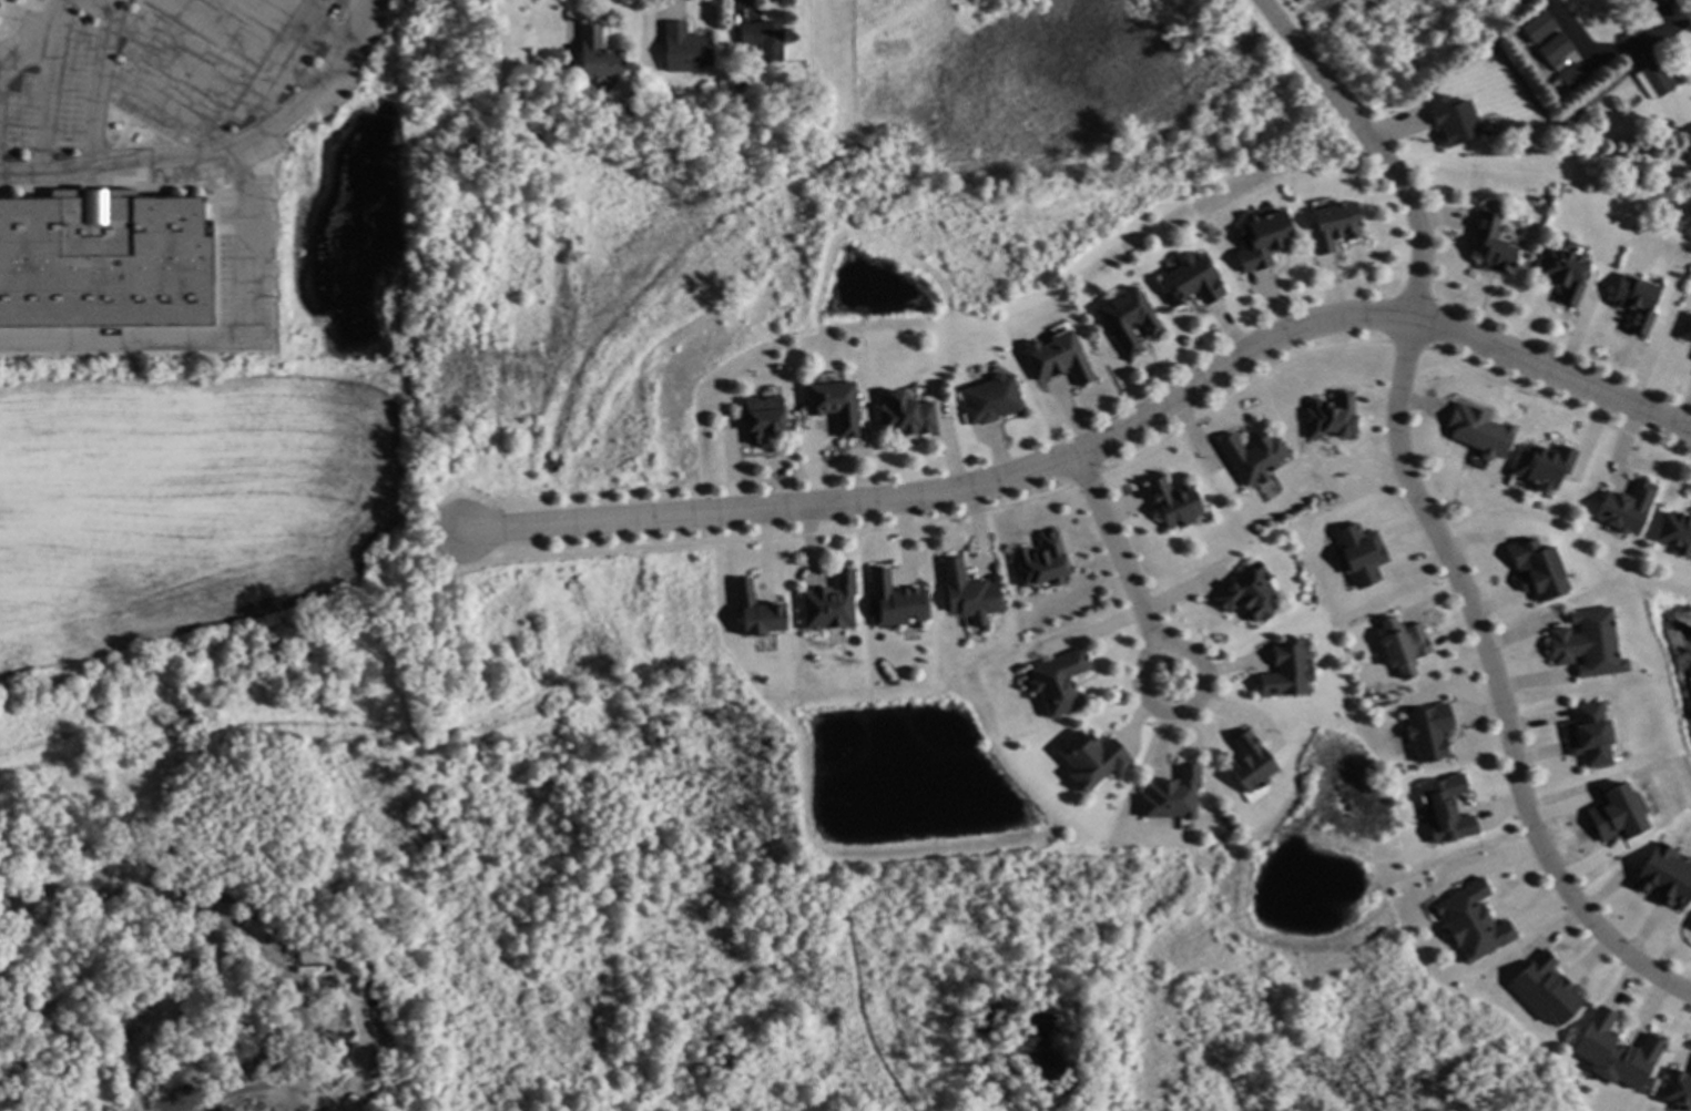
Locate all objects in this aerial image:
building: (1657, 2)
road: (102, 6)
building: (1541, 26)
road: (1656, 35)
building: (766, 39)
building: (687, 48)
building: (1558, 48)
building: (600, 51)
building: (1664, 55)
road: (22, 59)
road: (833, 77)
building: (1657, 78)
building: (741, 81)
building: (1572, 81)
road: (42, 86)
road: (98, 88)
building: (557, 93)
building: (1453, 120)
road: (1376, 147)
road: (118, 164)
building: (1335, 225)
building: (1264, 237)
building: (1491, 244)
building: (104, 259)
road: (238, 262)
building: (1563, 274)
building: (1193, 279)
building: (1636, 303)
building: (1130, 319)
building: (1687, 328)
building: (1059, 359)
building: (991, 399)
building: (836, 405)
building: (1330, 416)
building: (764, 417)
building: (907, 417)
building: (1480, 431)
road: (1097, 439)
building: (1254, 455)
building: (1545, 465)
building: (1174, 503)
building: (1628, 507)
crop: (198, 510)
building: (1675, 531)
road: (1113, 548)
building: (1362, 554)
building: (1042, 563)
building: (1538, 570)
building: (1250, 591)
building: (969, 593)
building: (897, 601)
building: (833, 603)
building: (757, 610)
building: (1589, 643)
building: (1404, 646)
building: (1288, 669)
building: (1061, 682)
road: (1495, 685)
road: (1189, 710)
building: (1427, 732)
building: (1590, 735)
building: (1090, 760)
building: (1252, 761)
building: (1174, 793)
building: (1444, 811)
building: (1616, 814)
building: (1667, 875)
building: (1471, 920)
building: (1690, 925)
building: (1546, 988)
building: (1616, 1050)
building: (1678, 1089)

